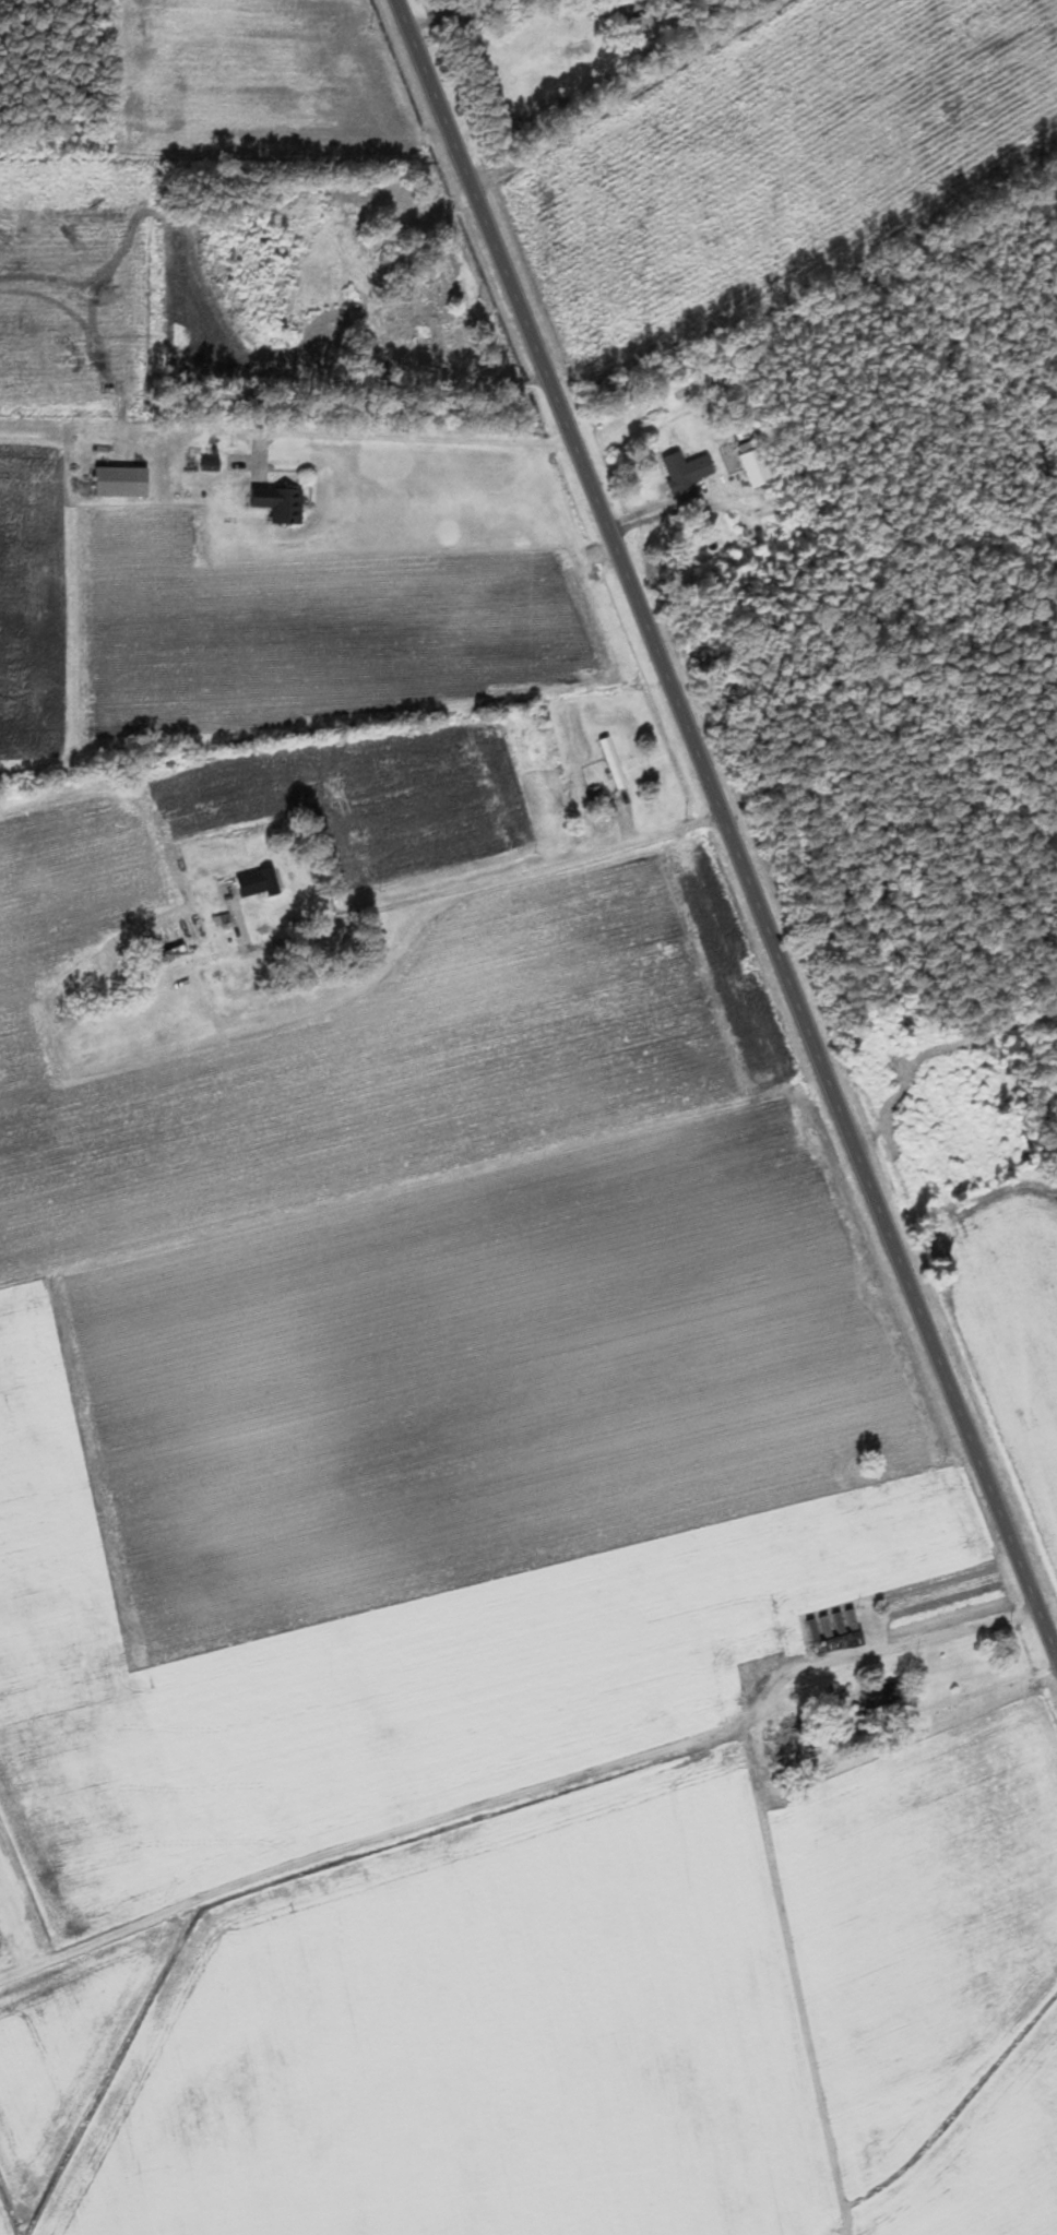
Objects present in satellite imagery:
building: (640, 31)
road: (622, 92)
building: (404, 311)
building: (438, 329)
road: (402, 438)
building: (746, 465)
building: (682, 475)
building: (118, 483)
building: (275, 504)
building: (610, 765)
road: (722, 815)
road: (81, 878)
road: (466, 881)
building: (253, 887)
road: (416, 935)
building: (176, 953)
building: (761, 1643)
building: (881, 1696)
road: (772, 1697)
building: (661, 1720)

